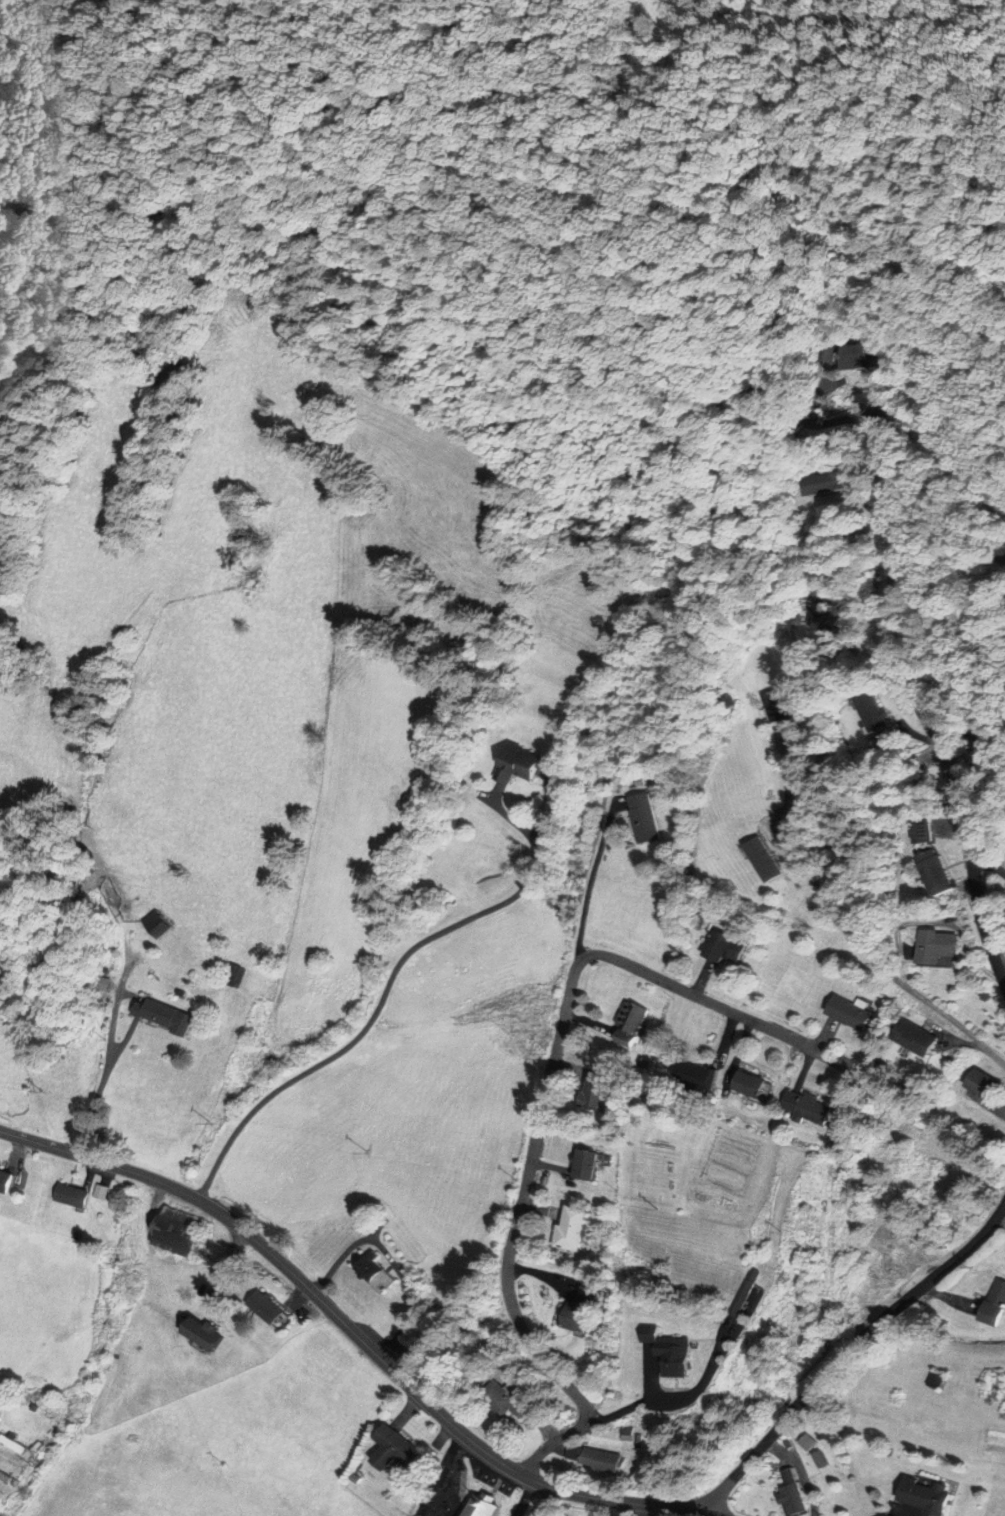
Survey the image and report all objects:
building: (850, 355)
building: (751, 390)
road: (896, 406)
road: (977, 480)
building: (814, 484)
building: (996, 556)
road: (948, 606)
road: (916, 703)
building: (769, 706)
building: (865, 714)
building: (525, 765)
building: (647, 819)
building: (832, 836)
road: (989, 865)
building: (931, 874)
road: (593, 883)
building: (158, 925)
building: (723, 948)
building: (933, 950)
building: (94, 985)
road: (383, 990)
building: (852, 1014)
building: (166, 1017)
building: (626, 1024)
building: (913, 1039)
building: (691, 1076)
building: (748, 1085)
building: (985, 1085)
road: (99, 1087)
building: (593, 1095)
road: (544, 1101)
building: (813, 1110)
building: (584, 1165)
building: (10, 1181)
building: (76, 1197)
building: (570, 1229)
building: (180, 1233)
building: (380, 1274)
building: (748, 1291)
building: (997, 1306)
building: (271, 1308)
building: (587, 1309)
building: (206, 1334)
road: (356, 1336)
road: (849, 1350)
building: (675, 1354)
building: (511, 1400)
building: (41, 1404)
road: (633, 1406)
building: (11, 1445)
building: (402, 1451)
building: (607, 1461)
building: (6, 1481)
building: (790, 1495)
building: (927, 1496)
building: (491, 1507)
road: (646, 1511)

